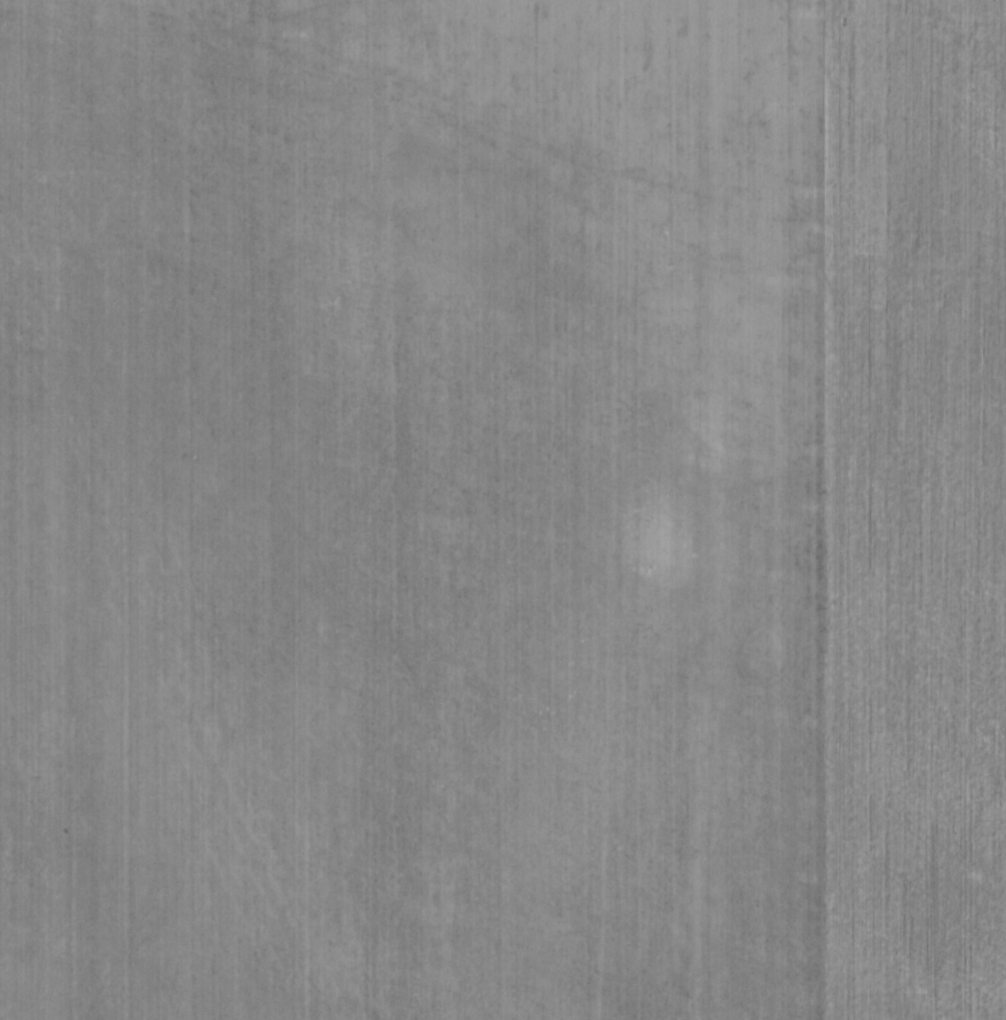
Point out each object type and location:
crop: (503, 510)

